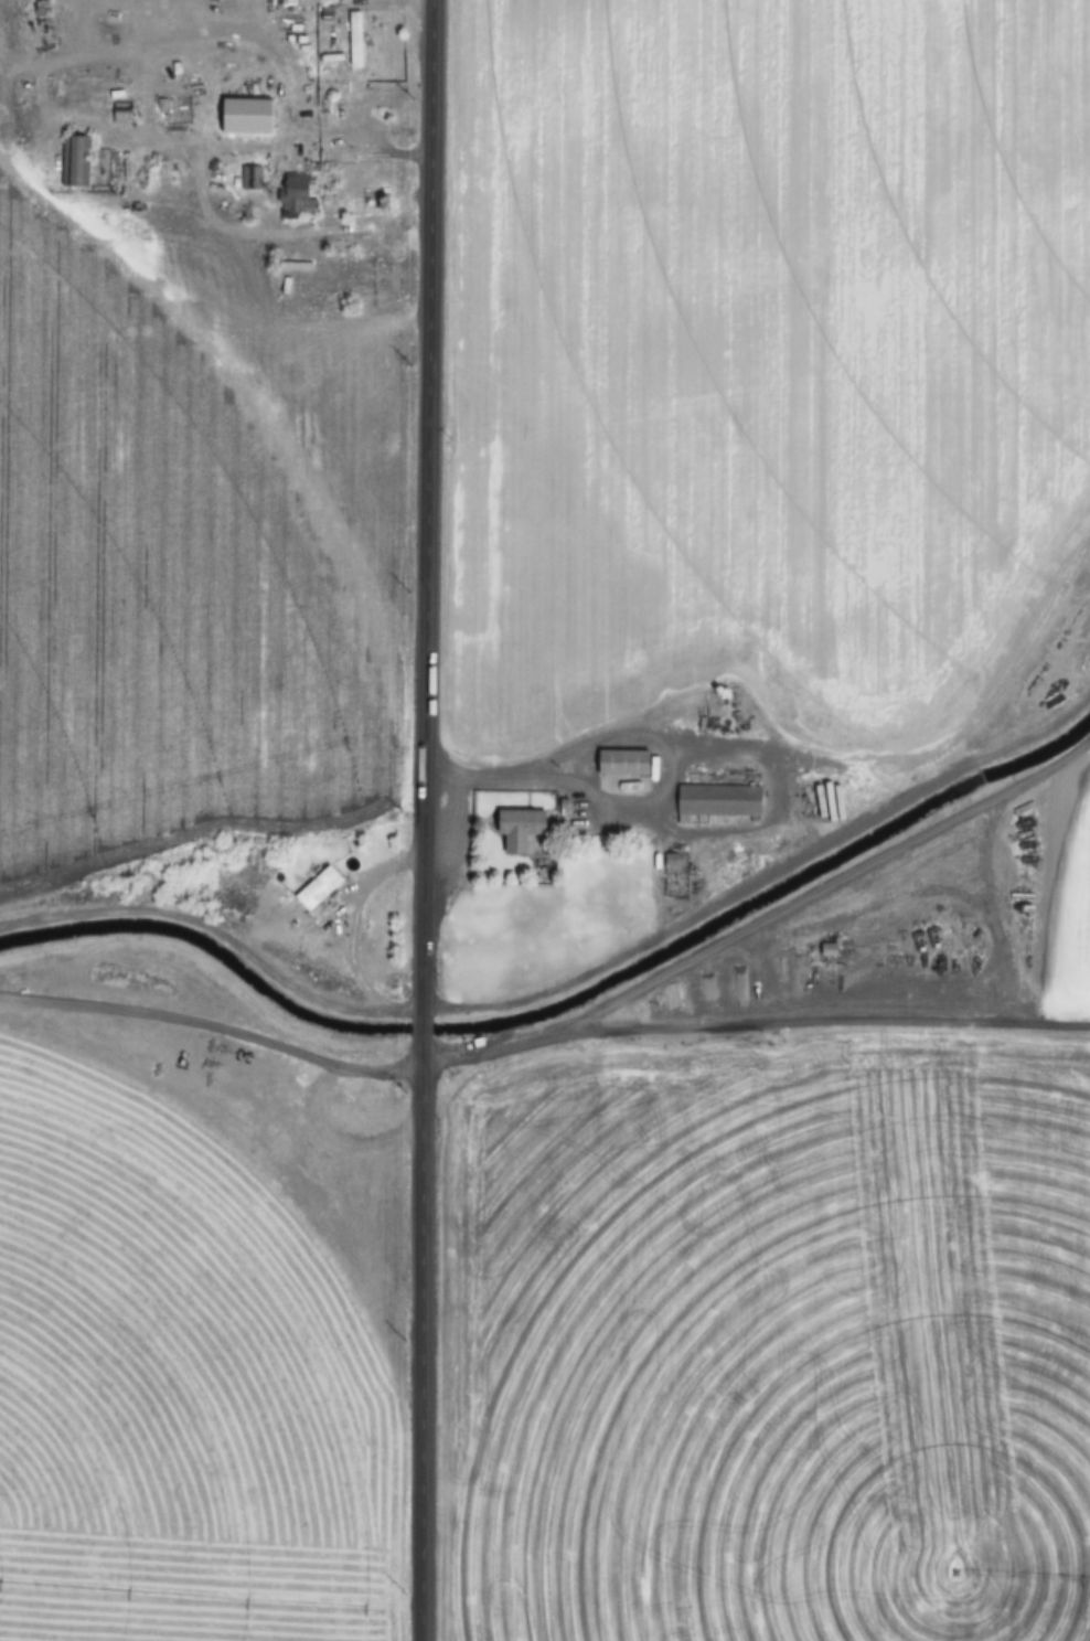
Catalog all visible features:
building: (355, 39)
building: (8, 46)
building: (121, 114)
building: (75, 161)
building: (252, 178)
building: (299, 195)
road: (429, 509)
building: (623, 761)
building: (718, 802)
building: (521, 828)
building: (318, 888)
road: (424, 1026)
road: (421, 1336)

